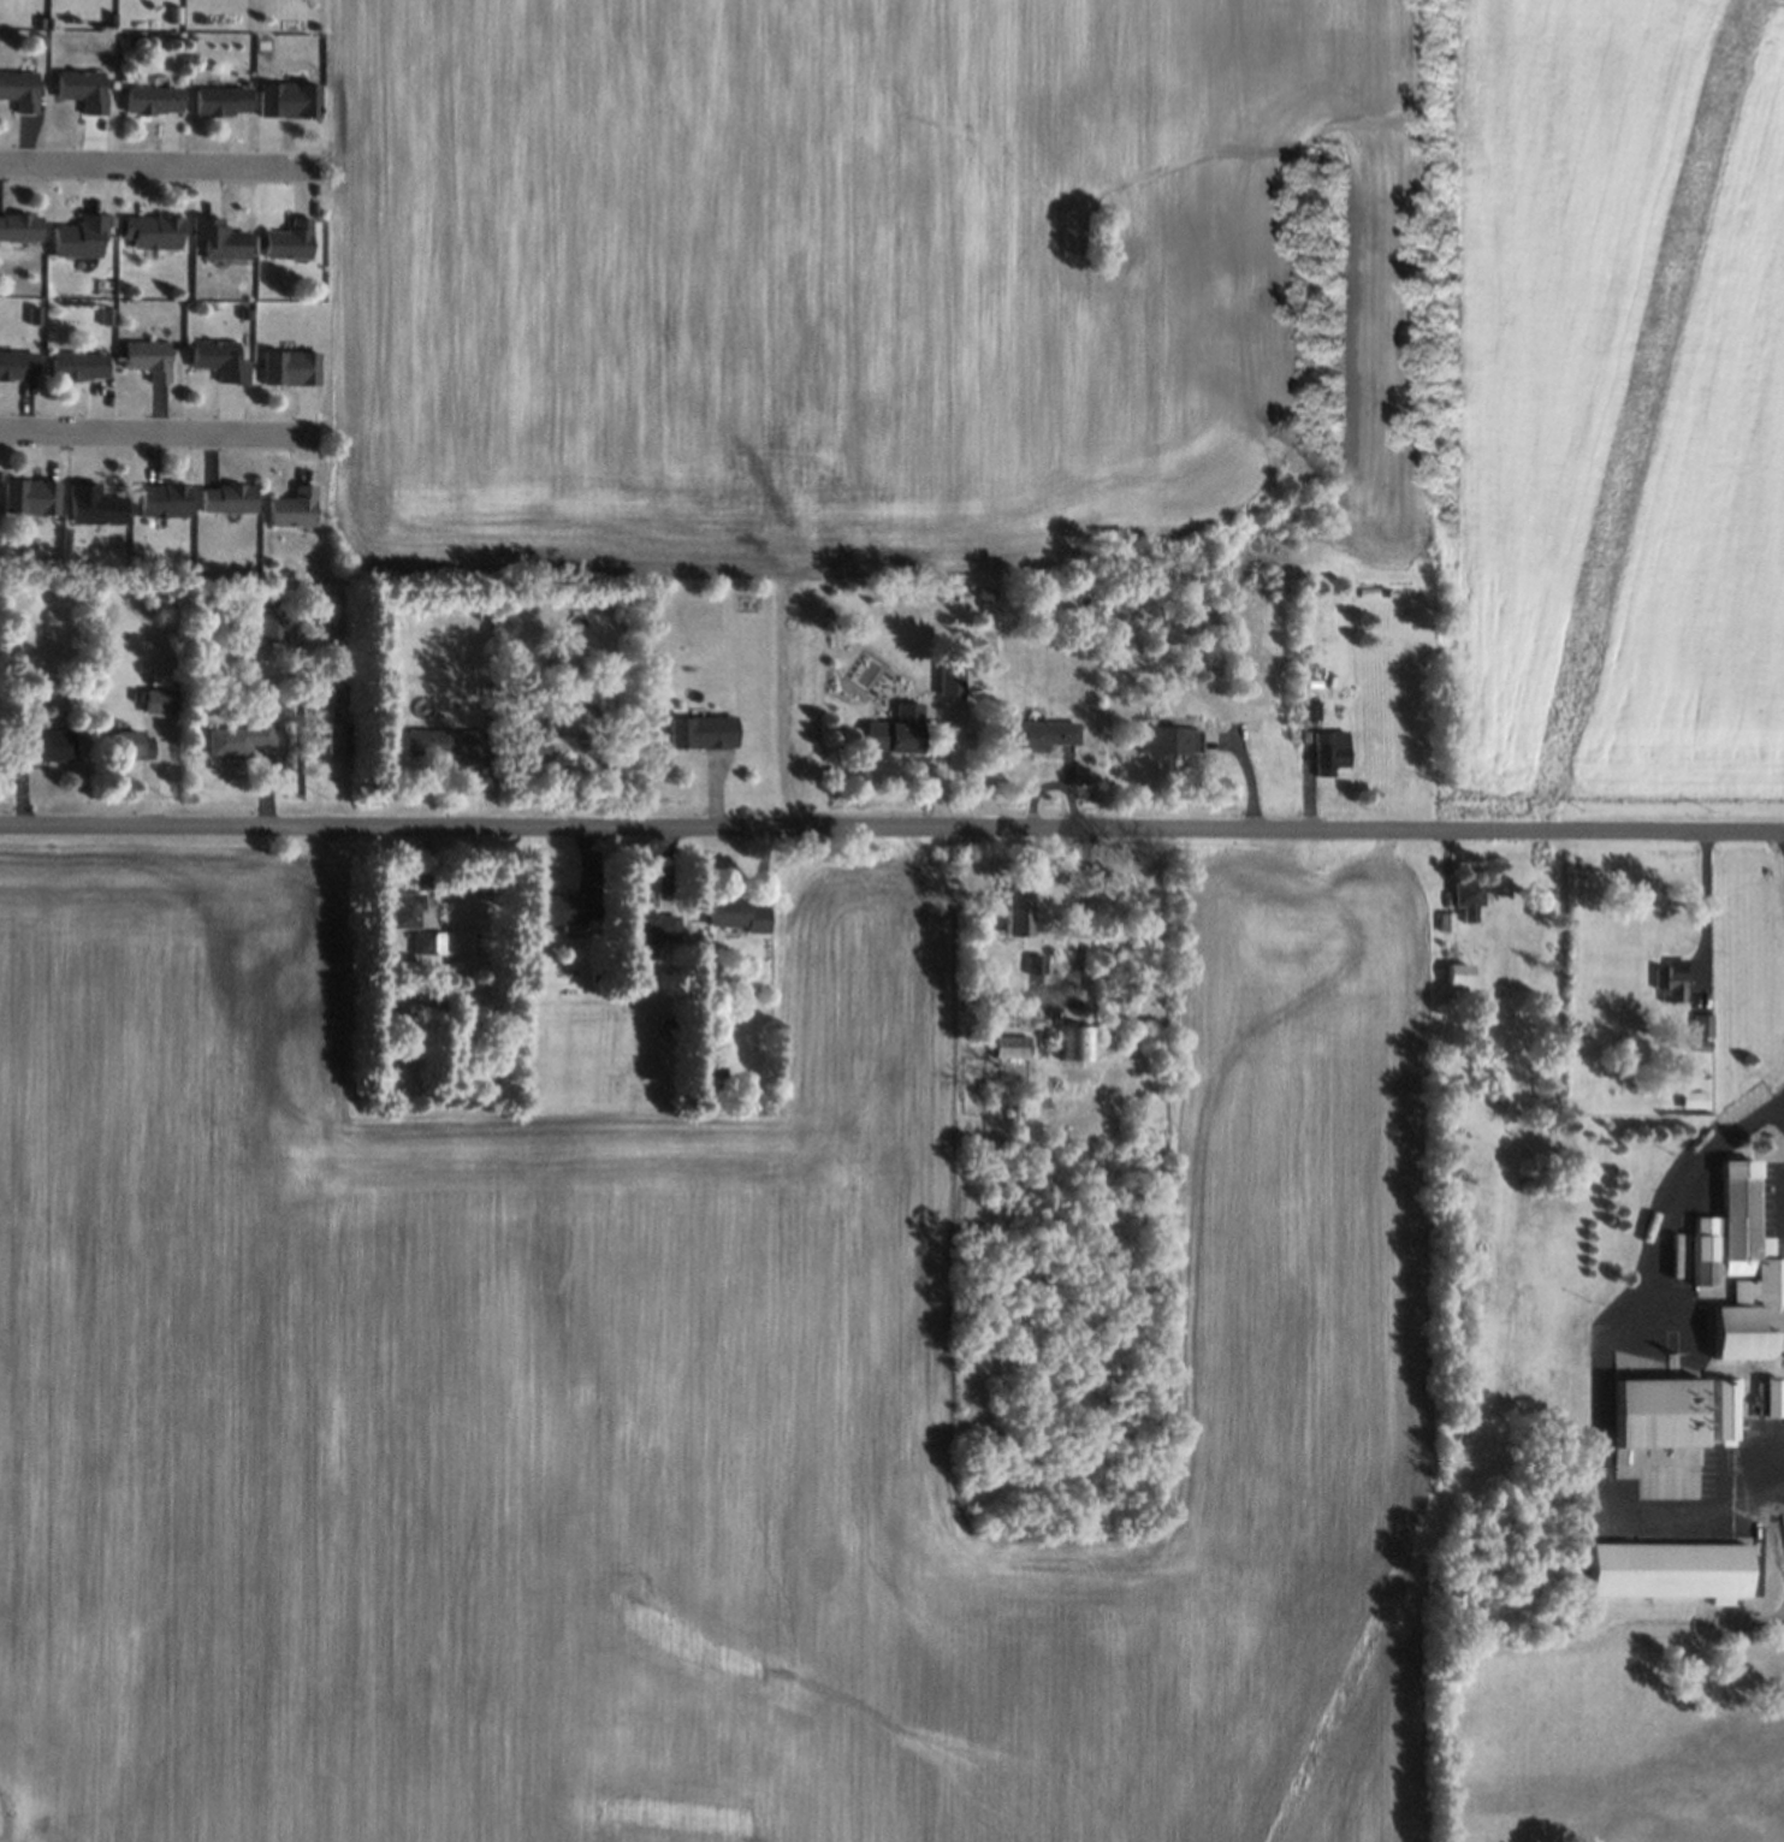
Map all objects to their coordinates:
building: (19, 89)
building: (85, 89)
building: (289, 99)
building: (154, 100)
building: (223, 101)
road: (158, 162)
building: (20, 226)
building: (153, 231)
building: (82, 237)
building: (220, 238)
building: (290, 239)
crop: (1101, 326)
building: (148, 359)
building: (220, 360)
building: (18, 365)
building: (79, 365)
building: (290, 367)
road: (159, 432)
building: (30, 497)
building: (229, 497)
building: (164, 499)
building: (94, 504)
building: (294, 508)
building: (263, 627)
building: (952, 680)
building: (160, 701)
building: (1311, 709)
building: (701, 732)
building: (896, 732)
building: (1038, 736)
building: (339, 739)
building: (238, 740)
building: (1164, 741)
building: (132, 744)
building: (445, 744)
building: (47, 745)
building: (543, 750)
building: (1329, 752)
road: (940, 765)
road: (891, 831)
building: (1468, 898)
building: (407, 911)
building: (567, 911)
building: (1014, 913)
building: (735, 917)
road: (1075, 928)
building: (646, 930)
building: (428, 943)
building: (1032, 965)
building: (1458, 973)
building: (1672, 981)
building: (1701, 1040)
building: (1074, 1043)
building: (1008, 1048)
building: (1694, 1100)
building: (1715, 1328)
crop: (691, 1393)
building: (1666, 1569)

